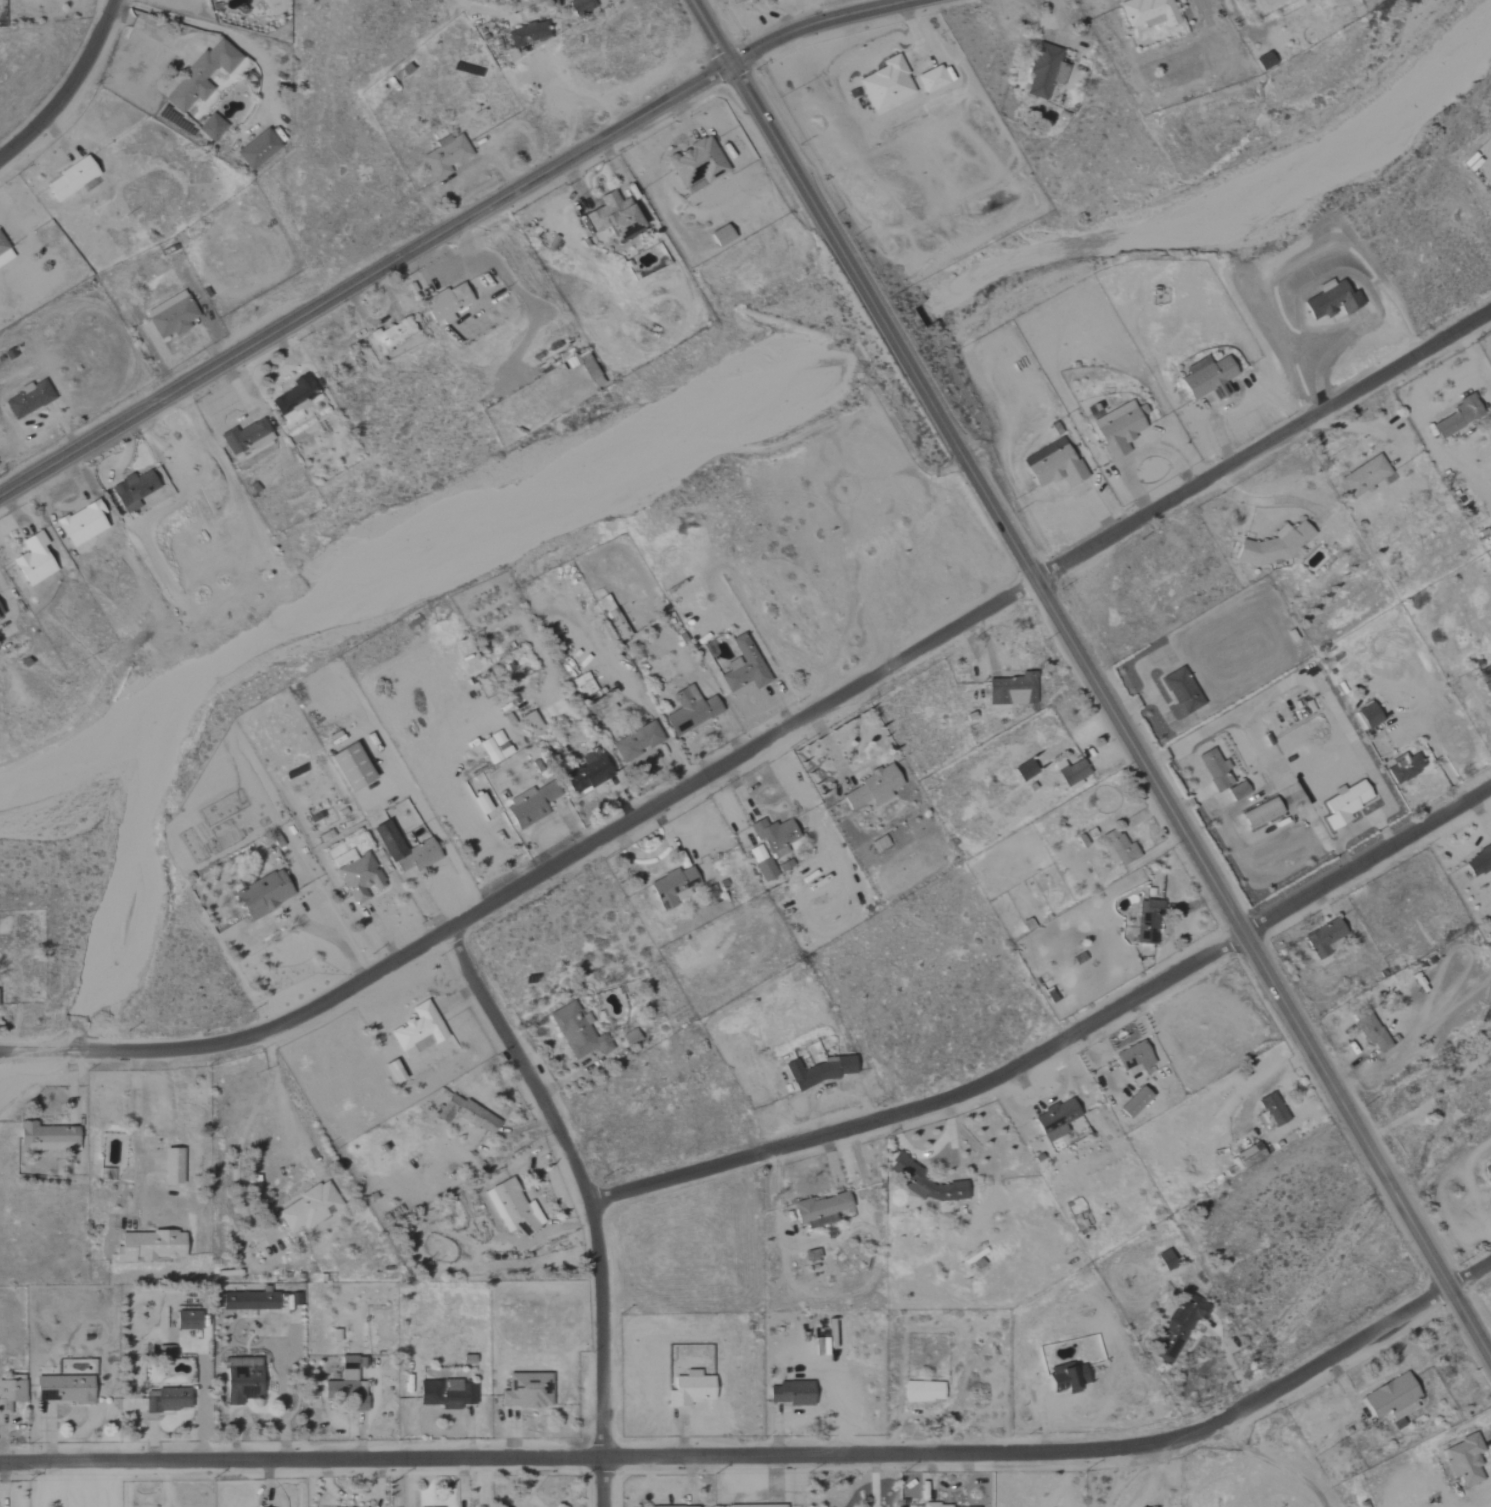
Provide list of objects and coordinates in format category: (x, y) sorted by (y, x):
building: (748, 0)
building: (580, 6)
road: (490, 7)
building: (1148, 13)
road: (819, 24)
road: (218, 30)
road: (711, 32)
building: (528, 34)
building: (1264, 61)
building: (1045, 71)
building: (200, 75)
building: (932, 79)
building: (886, 84)
road: (68, 89)
building: (211, 127)
building: (256, 150)
building: (445, 156)
building: (696, 163)
building: (69, 179)
building: (613, 218)
building: (721, 236)
building: (4, 254)
road: (365, 280)
building: (446, 304)
building: (170, 315)
building: (391, 335)
building: (587, 367)
building: (1207, 379)
building: (28, 400)
building: (294, 400)
building: (1458, 417)
building: (1117, 429)
building: (246, 438)
building: (1053, 466)
building: (1364, 476)
building: (132, 491)
road: (1263, 497)
building: (81, 524)
building: (1274, 546)
building: (32, 561)
road: (10, 606)
building: (0, 614)
building: (743, 666)
building: (1485, 679)
building: (583, 685)
building: (1012, 690)
building: (1182, 691)
building: (689, 710)
road: (1113, 712)
building: (1369, 715)
building: (531, 723)
building: (635, 742)
road: (764, 742)
road: (1258, 743)
building: (494, 747)
building: (350, 767)
building: (1405, 768)
building: (1214, 769)
building: (1024, 770)
building: (586, 773)
building: (1072, 774)
building: (872, 787)
building: (1237, 791)
building: (481, 804)
building: (1344, 804)
building: (531, 805)
building: (1261, 813)
road: (1352, 829)
building: (774, 835)
building: (1120, 847)
building: (404, 850)
building: (1479, 861)
building: (761, 863)
building: (784, 866)
building: (359, 878)
building: (262, 895)
building: (1147, 921)
road: (332, 939)
building: (1324, 939)
building: (417, 1031)
building: (577, 1032)
building: (1371, 1032)
building: (629, 1037)
road: (1064, 1040)
building: (1133, 1059)
building: (394, 1072)
building: (818, 1072)
building: (1133, 1103)
building: (1270, 1112)
building: (466, 1114)
building: (1055, 1120)
road: (240, 1135)
building: (46, 1137)
road: (138, 1138)
building: (1245, 1159)
building: (172, 1166)
building: (924, 1182)
road: (591, 1201)
building: (511, 1206)
building: (308, 1208)
building: (818, 1210)
building: (149, 1247)
building: (1165, 1260)
building: (249, 1301)
building: (187, 1320)
building: (1066, 1377)
building: (241, 1384)
building: (64, 1390)
building: (689, 1390)
building: (526, 1391)
building: (10, 1392)
building: (922, 1392)
building: (790, 1393)
building: (445, 1394)
building: (1392, 1398)
building: (166, 1400)
road: (770, 1451)
building: (1465, 1460)
road: (1270, 1461)
road: (1158, 1467)
road: (876, 1476)
road: (41, 1484)
road: (109, 1485)
road: (1160, 1495)
road: (1150, 1496)
road: (874, 1505)
road: (876, 1505)
building: (935, 1505)
building: (652, 1506)
building: (757, 1506)

